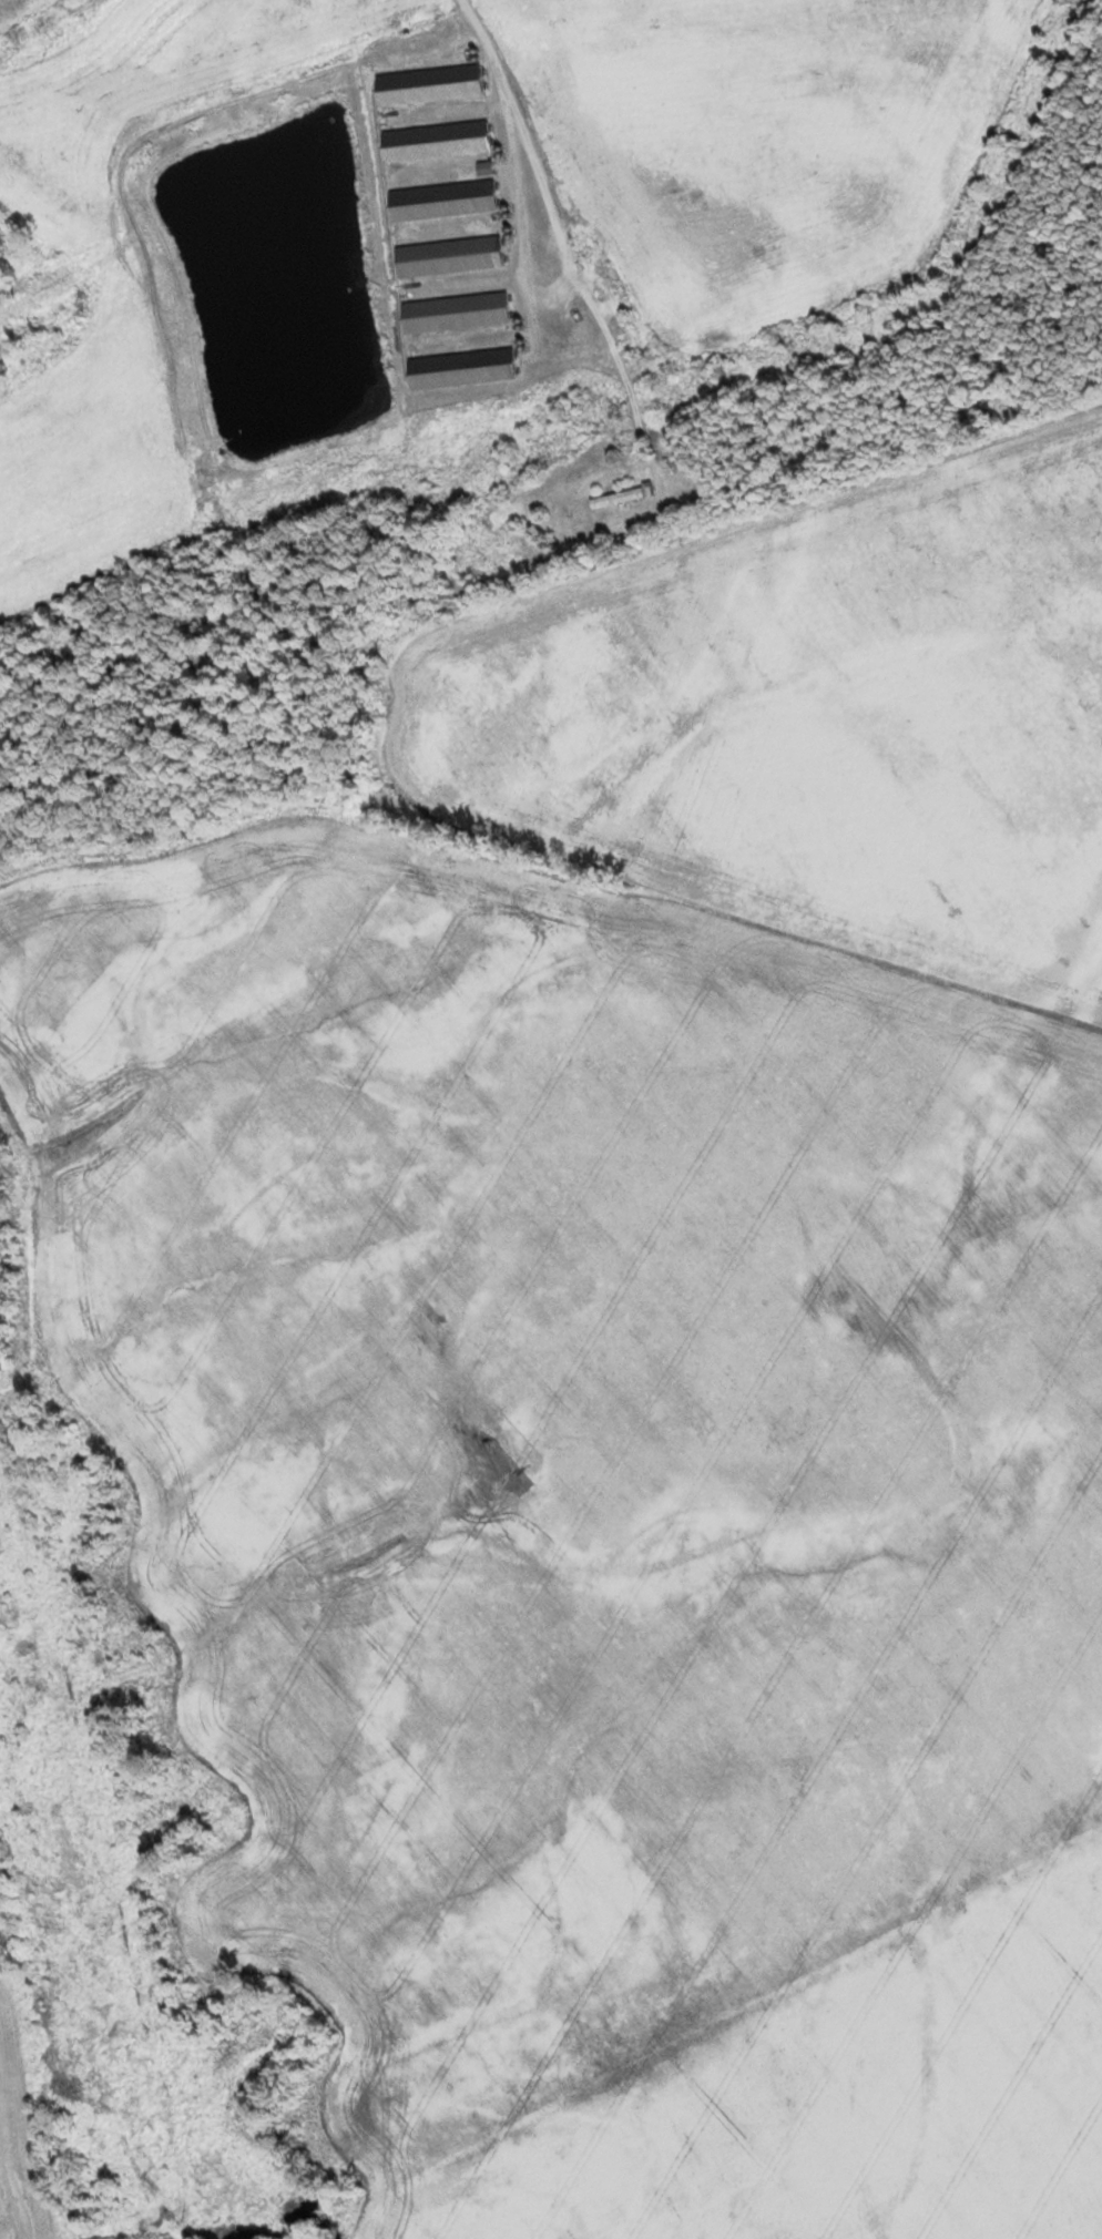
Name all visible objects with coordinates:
building: (428, 85)
building: (435, 142)
building: (483, 167)
building: (441, 202)
road: (568, 238)
building: (447, 257)
building: (452, 313)
building: (458, 369)
building: (619, 498)

